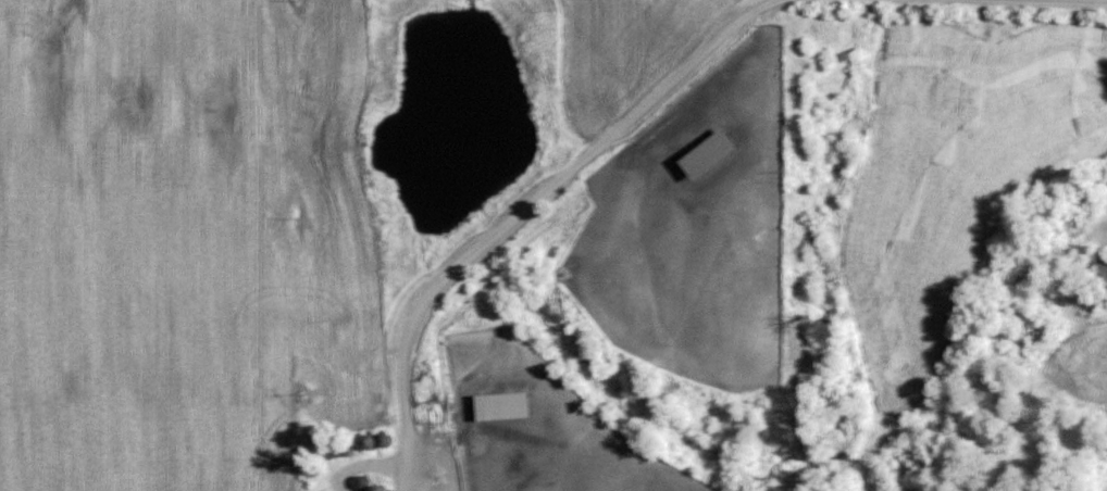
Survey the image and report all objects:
building: (704, 154)
building: (499, 404)

